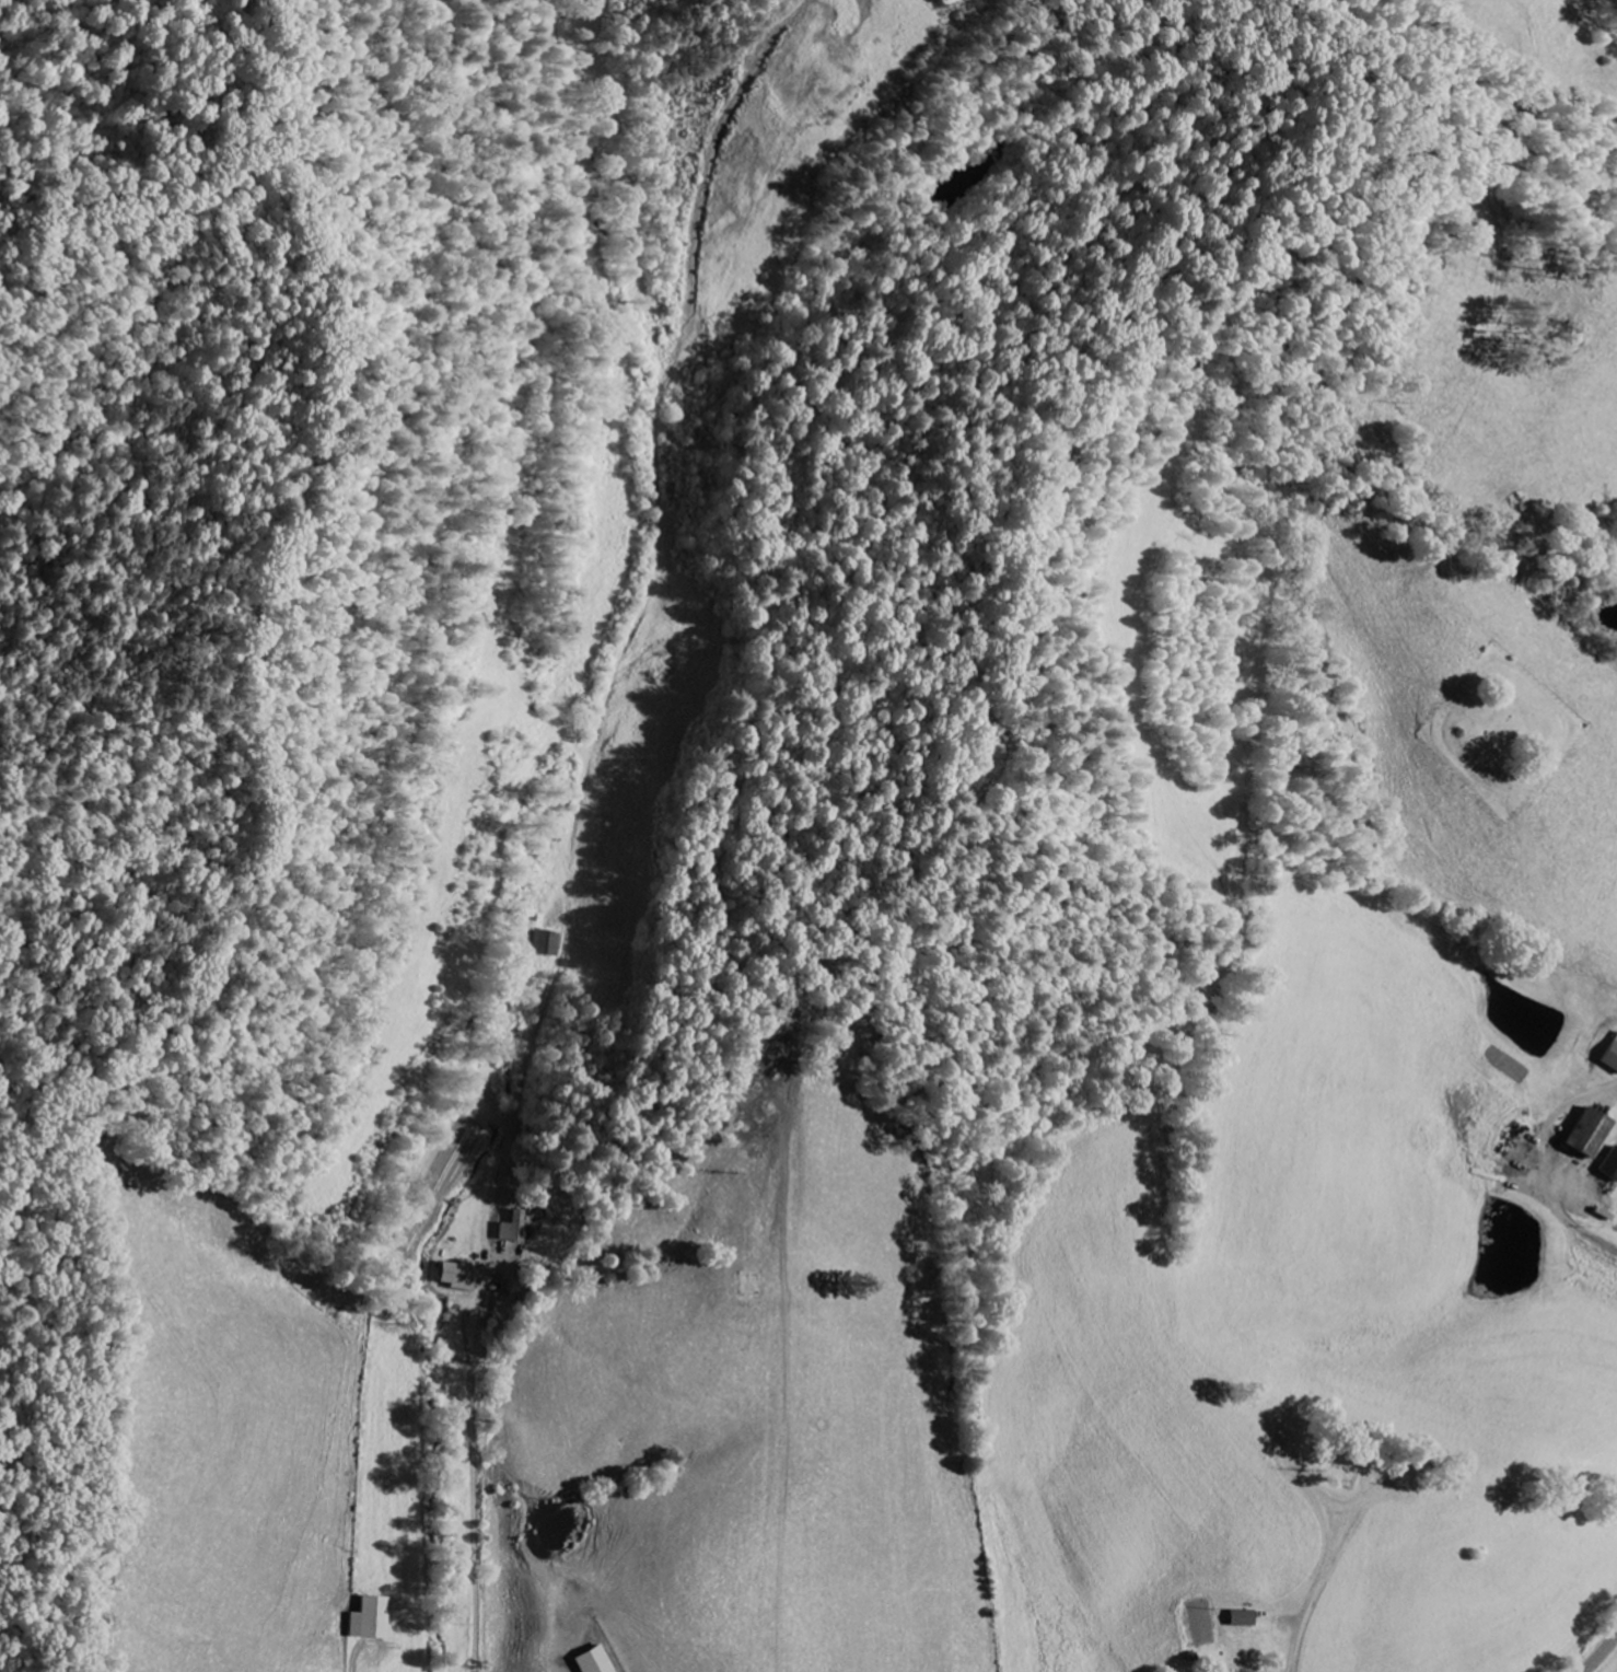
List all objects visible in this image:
building: (544, 944)
building: (1610, 1057)
building: (1586, 1135)
building: (1610, 1166)
building: (512, 1229)
building: (456, 1276)
road: (1324, 1561)
building: (1241, 1619)
building: (371, 1621)
road: (1601, 1653)
building: (590, 1661)

